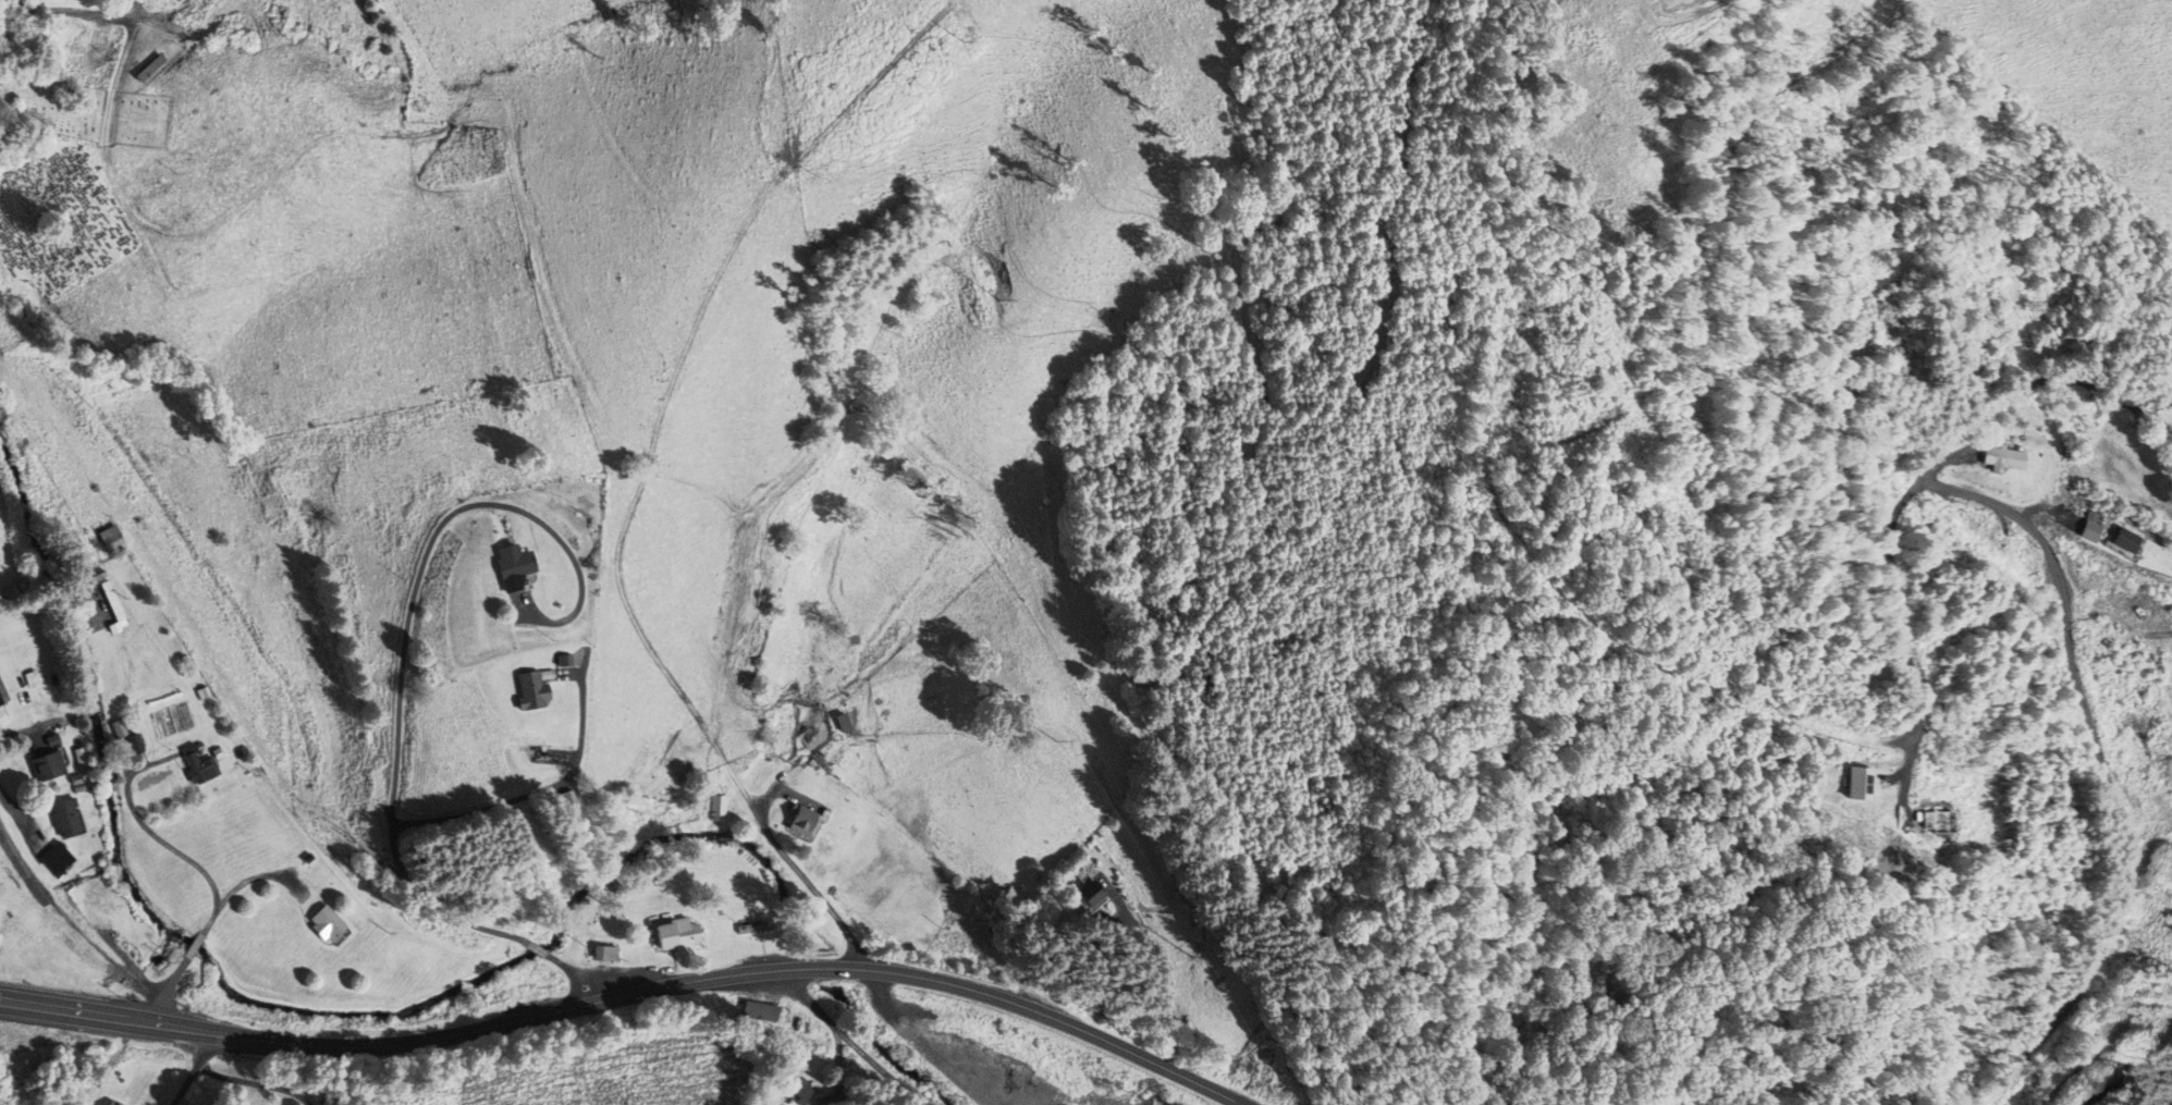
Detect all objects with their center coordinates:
building: (182, 0)
building: (216, 17)
building: (155, 69)
park: (86, 109)
road: (2089, 200)
road: (135, 225)
road: (2037, 256)
building: (2000, 457)
building: (113, 539)
building: (2121, 540)
building: (501, 565)
building: (16, 591)
road: (1905, 628)
road: (2064, 629)
road: (405, 636)
building: (557, 660)
building: (520, 689)
building: (3, 696)
building: (119, 729)
building: (82, 758)
road: (2156, 758)
building: (203, 765)
building: (48, 766)
road: (532, 797)
building: (720, 808)
road: (22, 813)
building: (68, 818)
building: (801, 820)
road: (161, 839)
building: (58, 859)
road: (17, 863)
road: (805, 879)
building: (100, 894)
building: (1080, 896)
building: (317, 923)
building: (676, 934)
road: (194, 945)
road: (536, 947)
building: (600, 953)
road: (585, 974)
road: (162, 989)
road: (631, 994)
road: (194, 1068)
building: (796, 1091)
building: (343, 1097)
building: (110, 1102)

